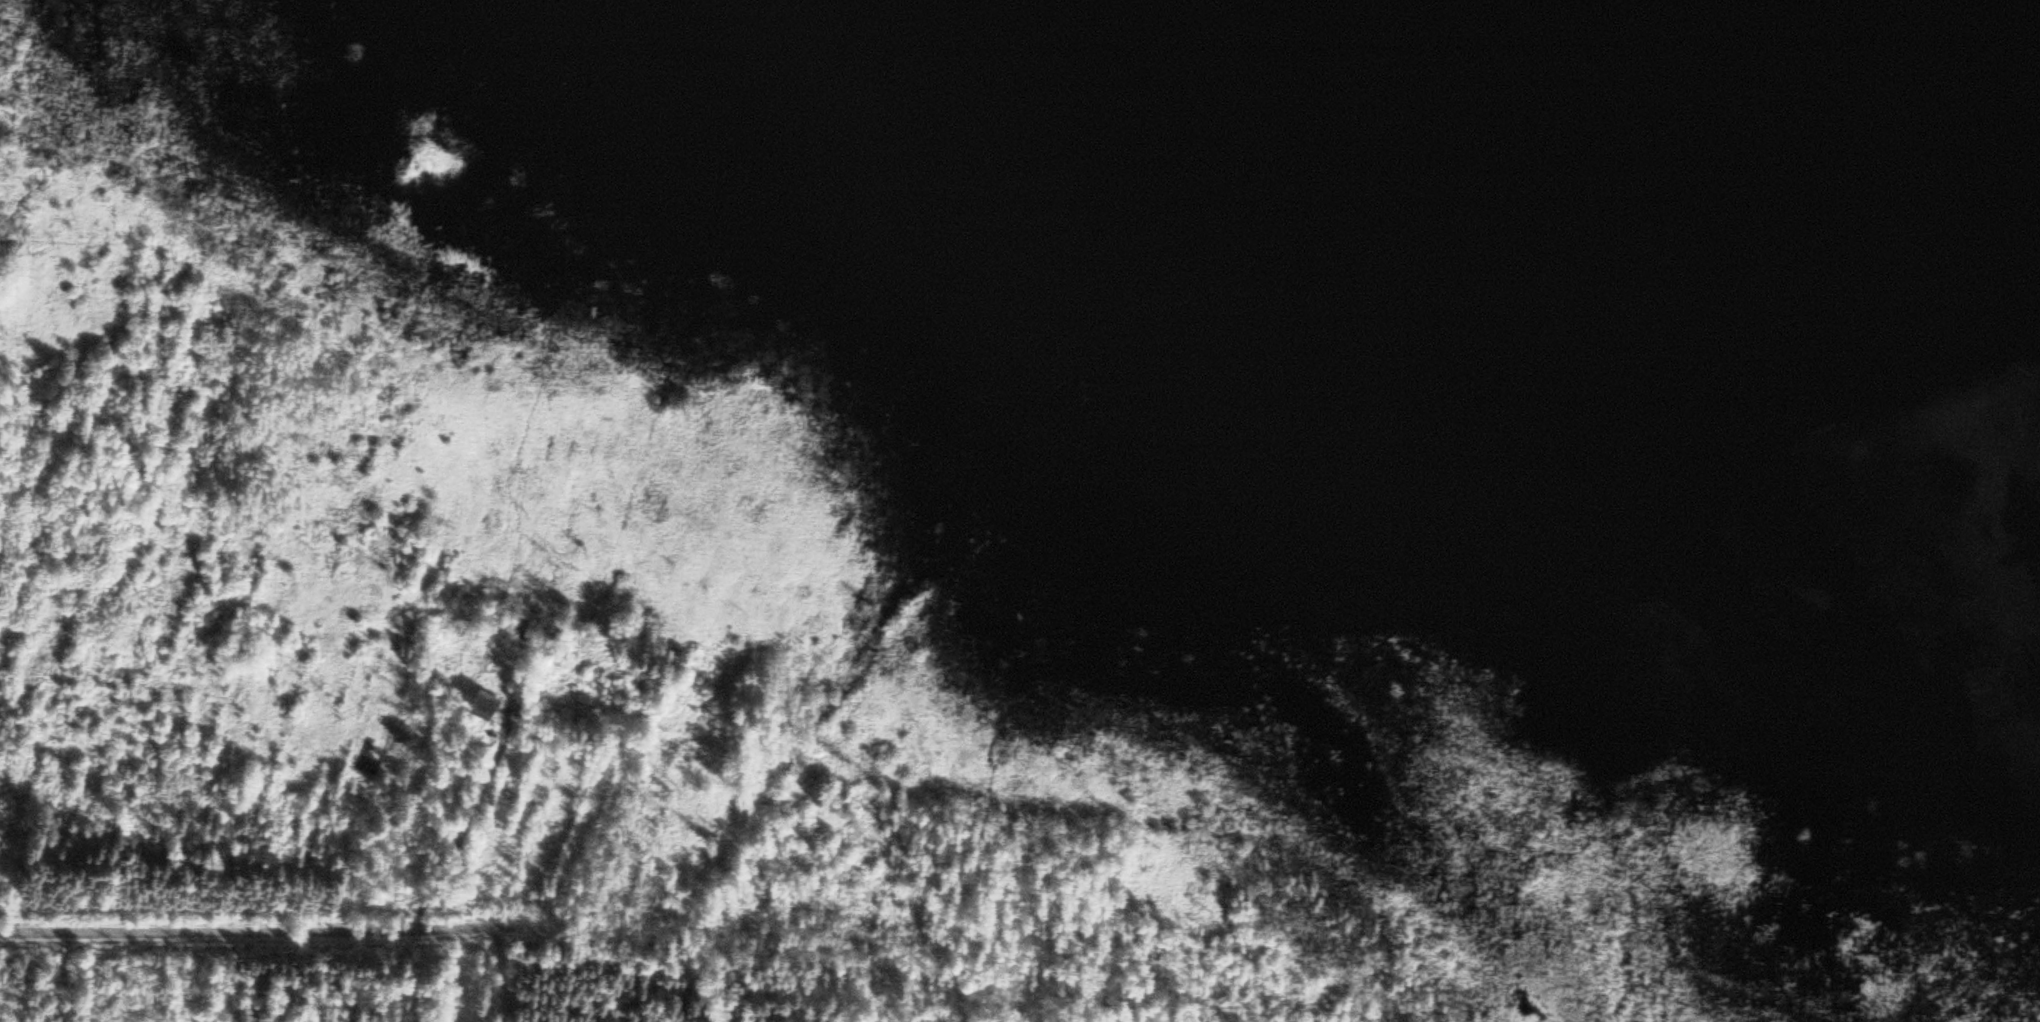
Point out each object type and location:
building: (488, 699)
road: (282, 916)

